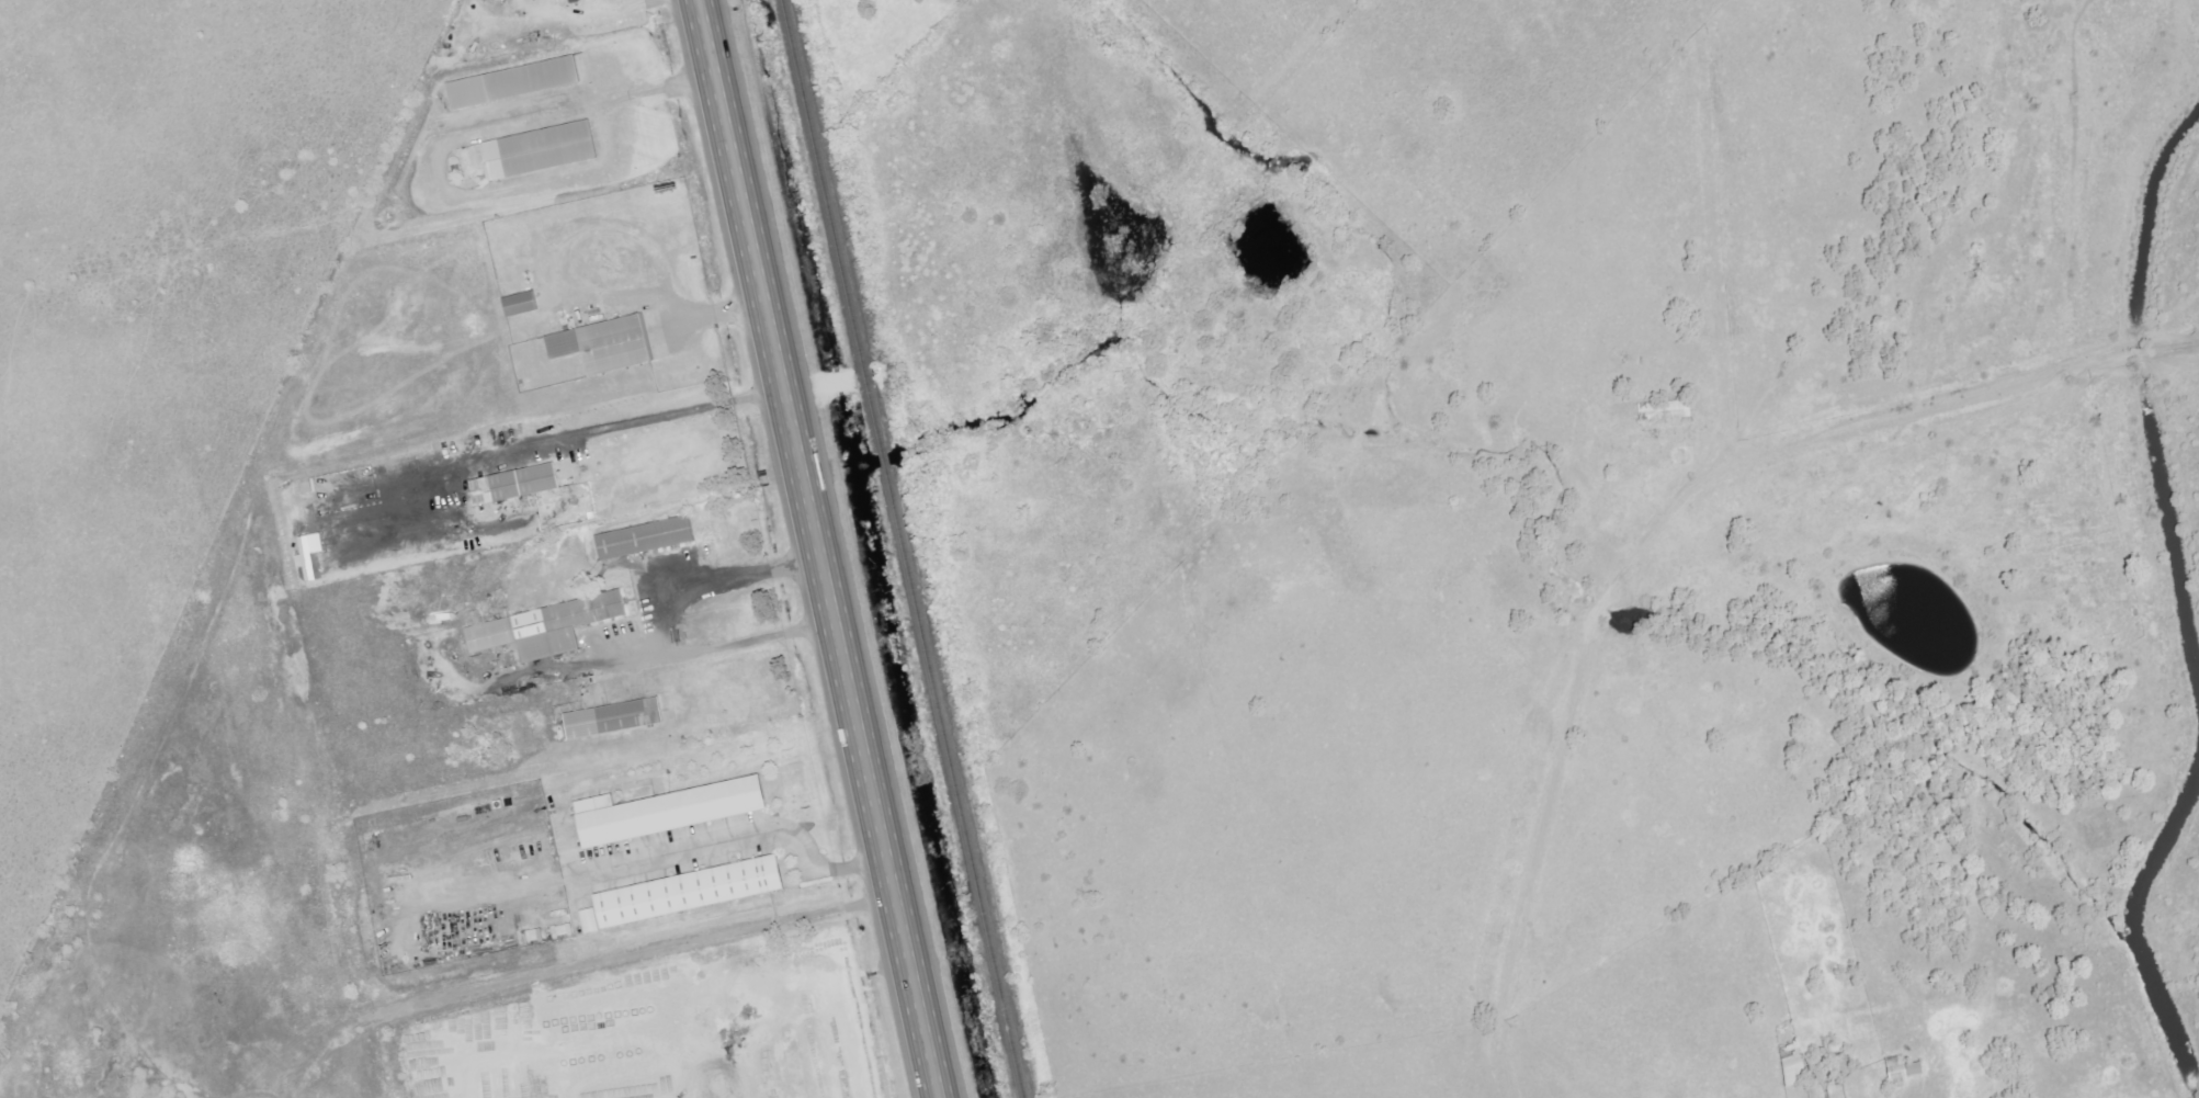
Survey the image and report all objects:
building: (532, 79)
road: (445, 145)
building: (540, 150)
road: (668, 299)
building: (510, 302)
building: (524, 303)
parking lot: (675, 328)
building: (614, 344)
building: (1669, 410)
road: (506, 453)
building: (525, 483)
building: (645, 539)
road: (812, 548)
railway: (899, 548)
building: (311, 555)
parking lot: (656, 614)
road: (671, 622)
building: (546, 627)
building: (613, 718)
building: (673, 812)
road: (739, 840)
parking lot: (680, 851)
building: (684, 892)
building: (1796, 1063)
building: (1905, 1071)

